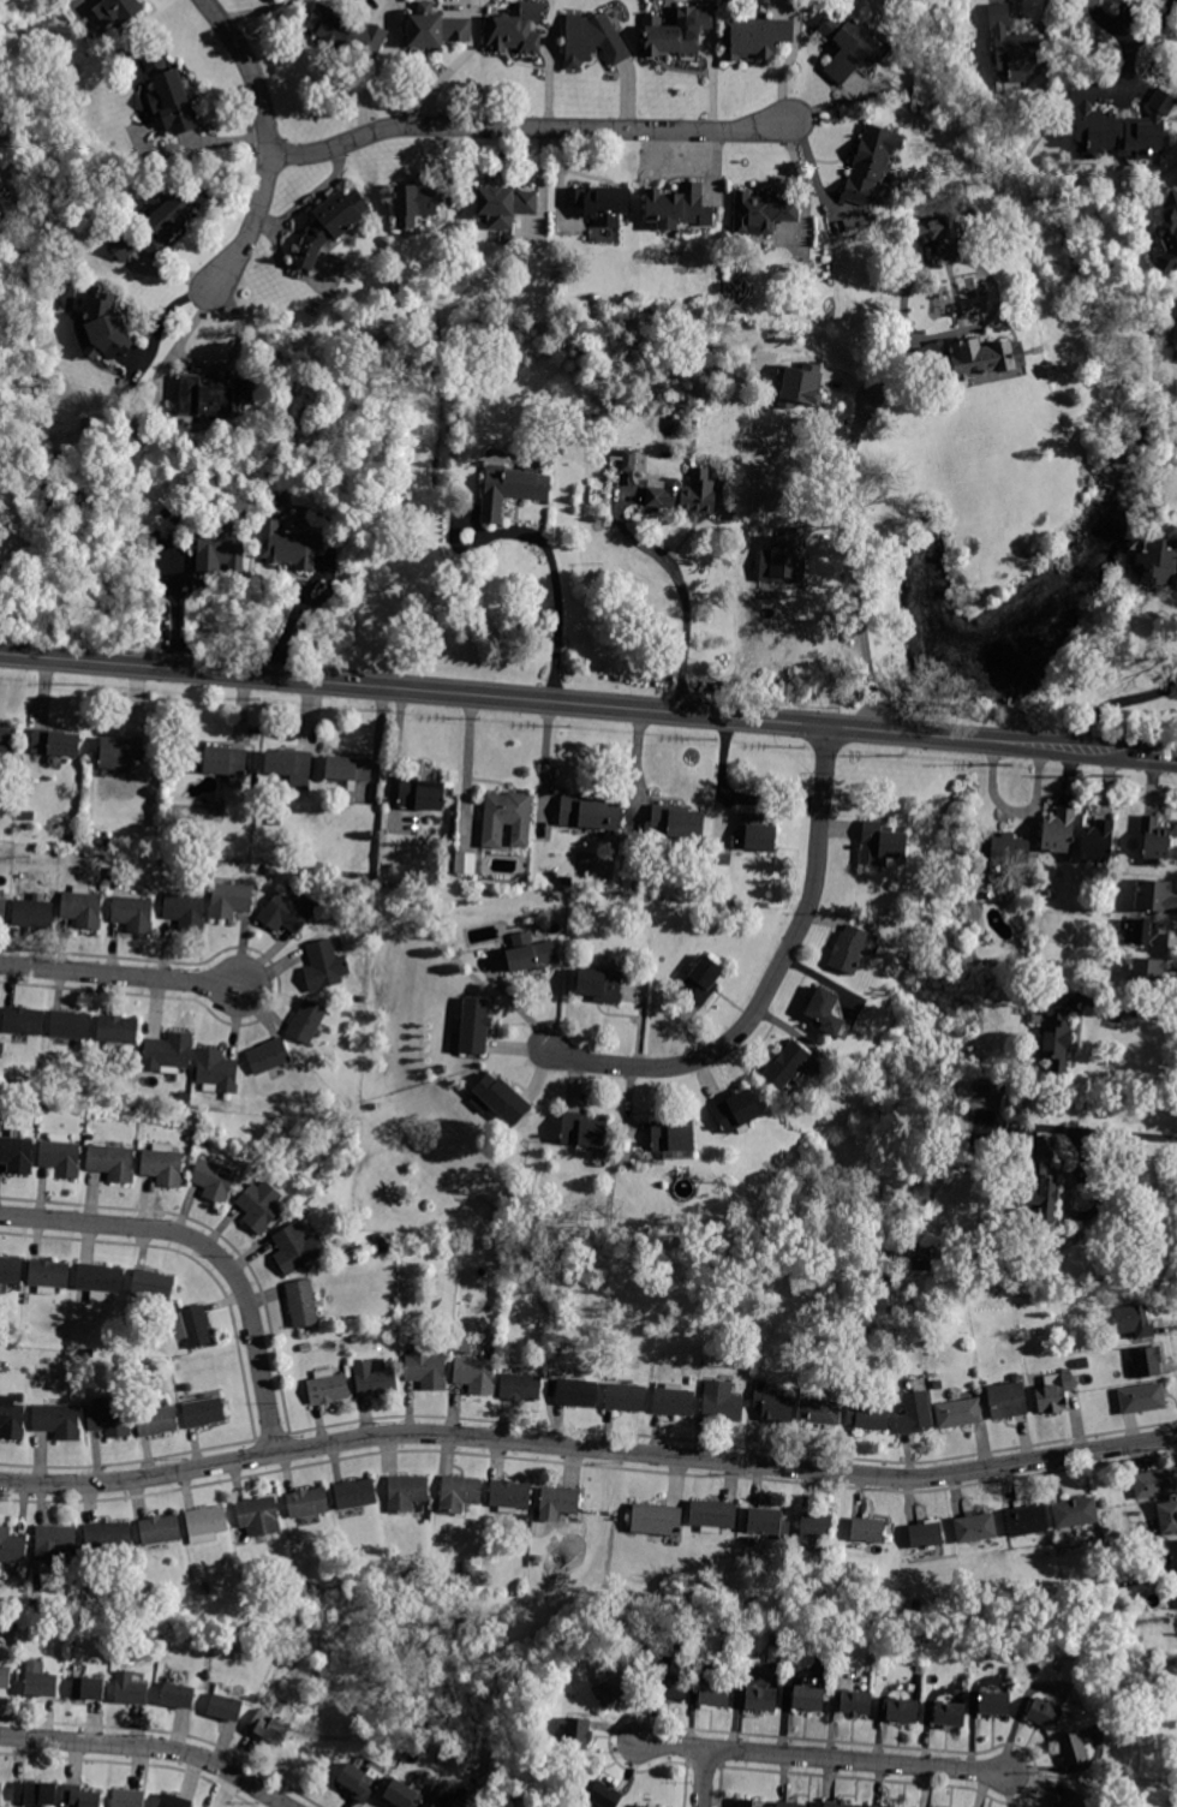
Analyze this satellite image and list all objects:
building: (118, 10)
building: (436, 28)
building: (515, 30)
building: (346, 32)
building: (676, 32)
building: (754, 37)
building: (593, 38)
building: (847, 46)
building: (1016, 47)
building: (168, 95)
building: (1121, 125)
road: (526, 127)
road: (268, 138)
building: (870, 163)
building: (1, 186)
building: (413, 203)
building: (599, 203)
building: (504, 205)
building: (677, 207)
building: (761, 213)
building: (165, 221)
building: (330, 225)
building: (939, 228)
building: (1169, 238)
building: (123, 248)
building: (106, 326)
building: (1176, 341)
building: (981, 358)
building: (789, 387)
road: (873, 389)
building: (214, 395)
building: (625, 458)
building: (510, 488)
building: (687, 495)
building: (289, 545)
building: (220, 548)
building: (782, 557)
building: (1157, 561)
road: (556, 574)
road: (676, 585)
road: (304, 597)
road: (172, 610)
road: (1116, 700)
road: (539, 703)
building: (7, 740)
building: (56, 743)
road: (1110, 751)
building: (120, 752)
road: (1159, 756)
building: (228, 764)
building: (291, 767)
building: (348, 769)
building: (422, 793)
building: (591, 813)
building: (506, 817)
building: (276, 821)
building: (677, 822)
building: (1059, 831)
building: (755, 833)
building: (1154, 840)
building: (97, 841)
building: (880, 842)
building: (1097, 842)
building: (1004, 848)
building: (727, 858)
building: (465, 861)
building: (717, 866)
building: (270, 872)
building: (1048, 893)
building: (231, 896)
building: (1155, 896)
building: (82, 907)
building: (2, 911)
building: (185, 911)
building: (31, 912)
building: (287, 912)
building: (133, 914)
building: (1146, 935)
building: (848, 949)
building: (531, 953)
building: (324, 966)
road: (123, 976)
building: (1149, 976)
building: (699, 979)
road: (770, 980)
building: (599, 984)
road: (1129, 1008)
building: (824, 1010)
building: (306, 1020)
building: (24, 1021)
building: (71, 1025)
building: (474, 1025)
building: (118, 1031)
building: (1057, 1037)
building: (168, 1052)
building: (268, 1056)
building: (785, 1064)
building: (440, 1069)
building: (216, 1071)
building: (991, 1090)
building: (501, 1099)
building: (736, 1111)
building: (582, 1131)
road: (1106, 1131)
building: (673, 1138)
building: (202, 1143)
building: (16, 1152)
building: (60, 1156)
building: (112, 1162)
building: (162, 1165)
building: (349, 1170)
building: (215, 1179)
building: (1041, 1186)
building: (261, 1205)
building: (377, 1238)
building: (687, 1242)
building: (297, 1247)
road: (211, 1250)
building: (921, 1259)
building: (687, 1269)
building: (10, 1270)
building: (49, 1275)
building: (719, 1275)
building: (831, 1275)
building: (101, 1281)
building: (153, 1284)
building: (304, 1302)
building: (1134, 1322)
building: (193, 1326)
building: (461, 1338)
building: (356, 1340)
building: (305, 1348)
building: (462, 1348)
building: (90, 1353)
building: (1148, 1361)
building: (556, 1366)
building: (425, 1367)
building: (474, 1374)
building: (611, 1377)
building: (375, 1378)
building: (693, 1380)
building: (937, 1385)
building: (328, 1386)
building: (186, 1388)
building: (521, 1388)
building: (576, 1392)
building: (1054, 1392)
building: (626, 1397)
building: (1142, 1399)
building: (1008, 1400)
building: (673, 1401)
building: (722, 1401)
building: (773, 1406)
building: (818, 1408)
building: (203, 1412)
building: (960, 1413)
building: (915, 1414)
building: (868, 1417)
building: (109, 1418)
building: (11, 1419)
building: (156, 1420)
building: (58, 1421)
road: (587, 1448)
building: (1155, 1483)
building: (406, 1492)
building: (459, 1493)
building: (354, 1496)
building: (510, 1496)
building: (561, 1501)
building: (307, 1502)
building: (1075, 1513)
building: (713, 1515)
building: (258, 1516)
building: (1167, 1516)
building: (656, 1520)
building: (1027, 1520)
building: (769, 1522)
building: (207, 1523)
building: (817, 1526)
building: (540, 1527)
building: (975, 1528)
building: (160, 1529)
building: (867, 1529)
building: (926, 1534)
building: (107, 1538)
building: (54, 1544)
building: (11, 1546)
building: (1173, 1552)
building: (466, 1568)
building: (305, 1573)
building: (411, 1575)
building: (277, 1582)
building: (207, 1590)
building: (160, 1593)
building: (263, 1650)
building: (772, 1654)
building: (5, 1676)
building: (42, 1681)
building: (671, 1687)
building: (88, 1688)
building: (132, 1689)
building: (610, 1689)
building: (178, 1695)
building: (713, 1695)
building: (761, 1698)
building: (808, 1698)
building: (855, 1702)
building: (994, 1702)
building: (225, 1707)
building: (902, 1710)
building: (1044, 1713)
building: (950, 1714)
building: (268, 1727)
building: (576, 1734)
road: (149, 1748)
building: (1074, 1748)
building: (401, 1749)
road: (824, 1758)
road: (704, 1777)
building: (360, 1781)
road: (1093, 1781)
building: (36, 1793)
building: (514, 1793)
building: (2, 1794)
building: (402, 1794)
building: (604, 1795)
building: (80, 1797)
building: (129, 1797)
building: (452, 1799)
building: (1071, 1799)
building: (174, 1801)
building: (751, 1802)
building: (790, 1805)
building: (838, 1805)
building: (640, 1806)
building: (880, 1806)

